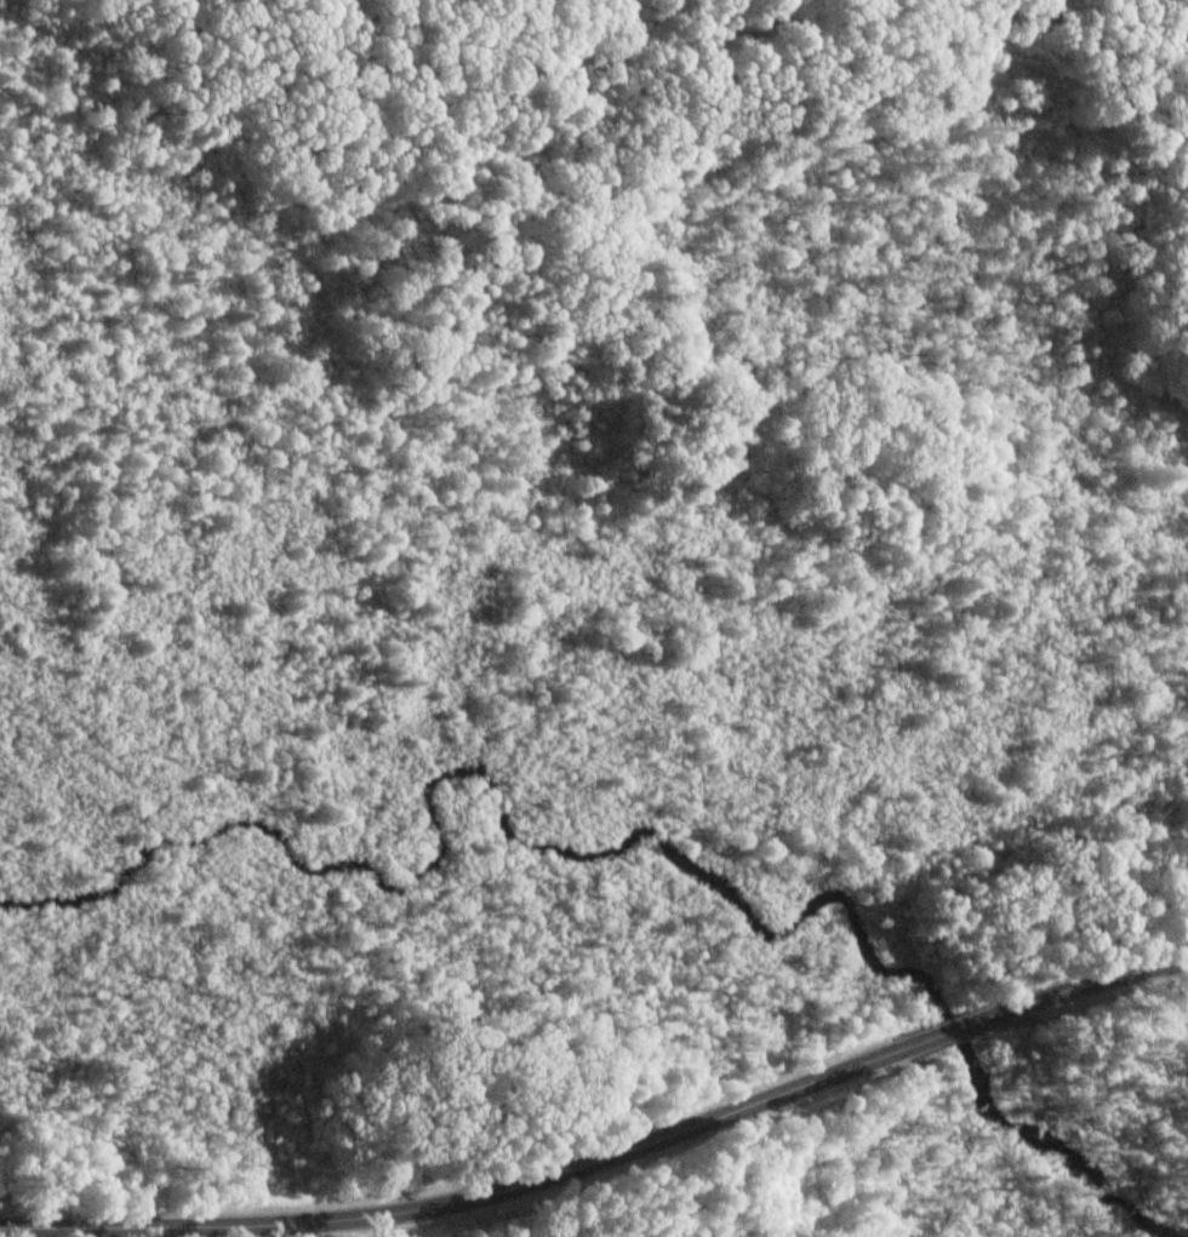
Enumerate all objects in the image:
road: (1098, 984)
road: (963, 1029)
road: (468, 1201)

